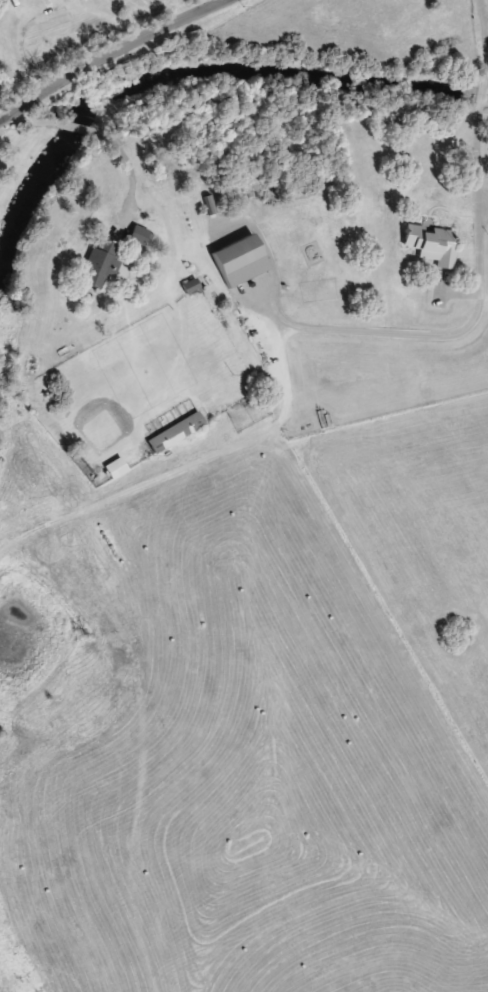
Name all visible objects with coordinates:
road: (110, 54)
building: (141, 234)
building: (432, 241)
building: (101, 261)
building: (176, 431)
building: (116, 467)

